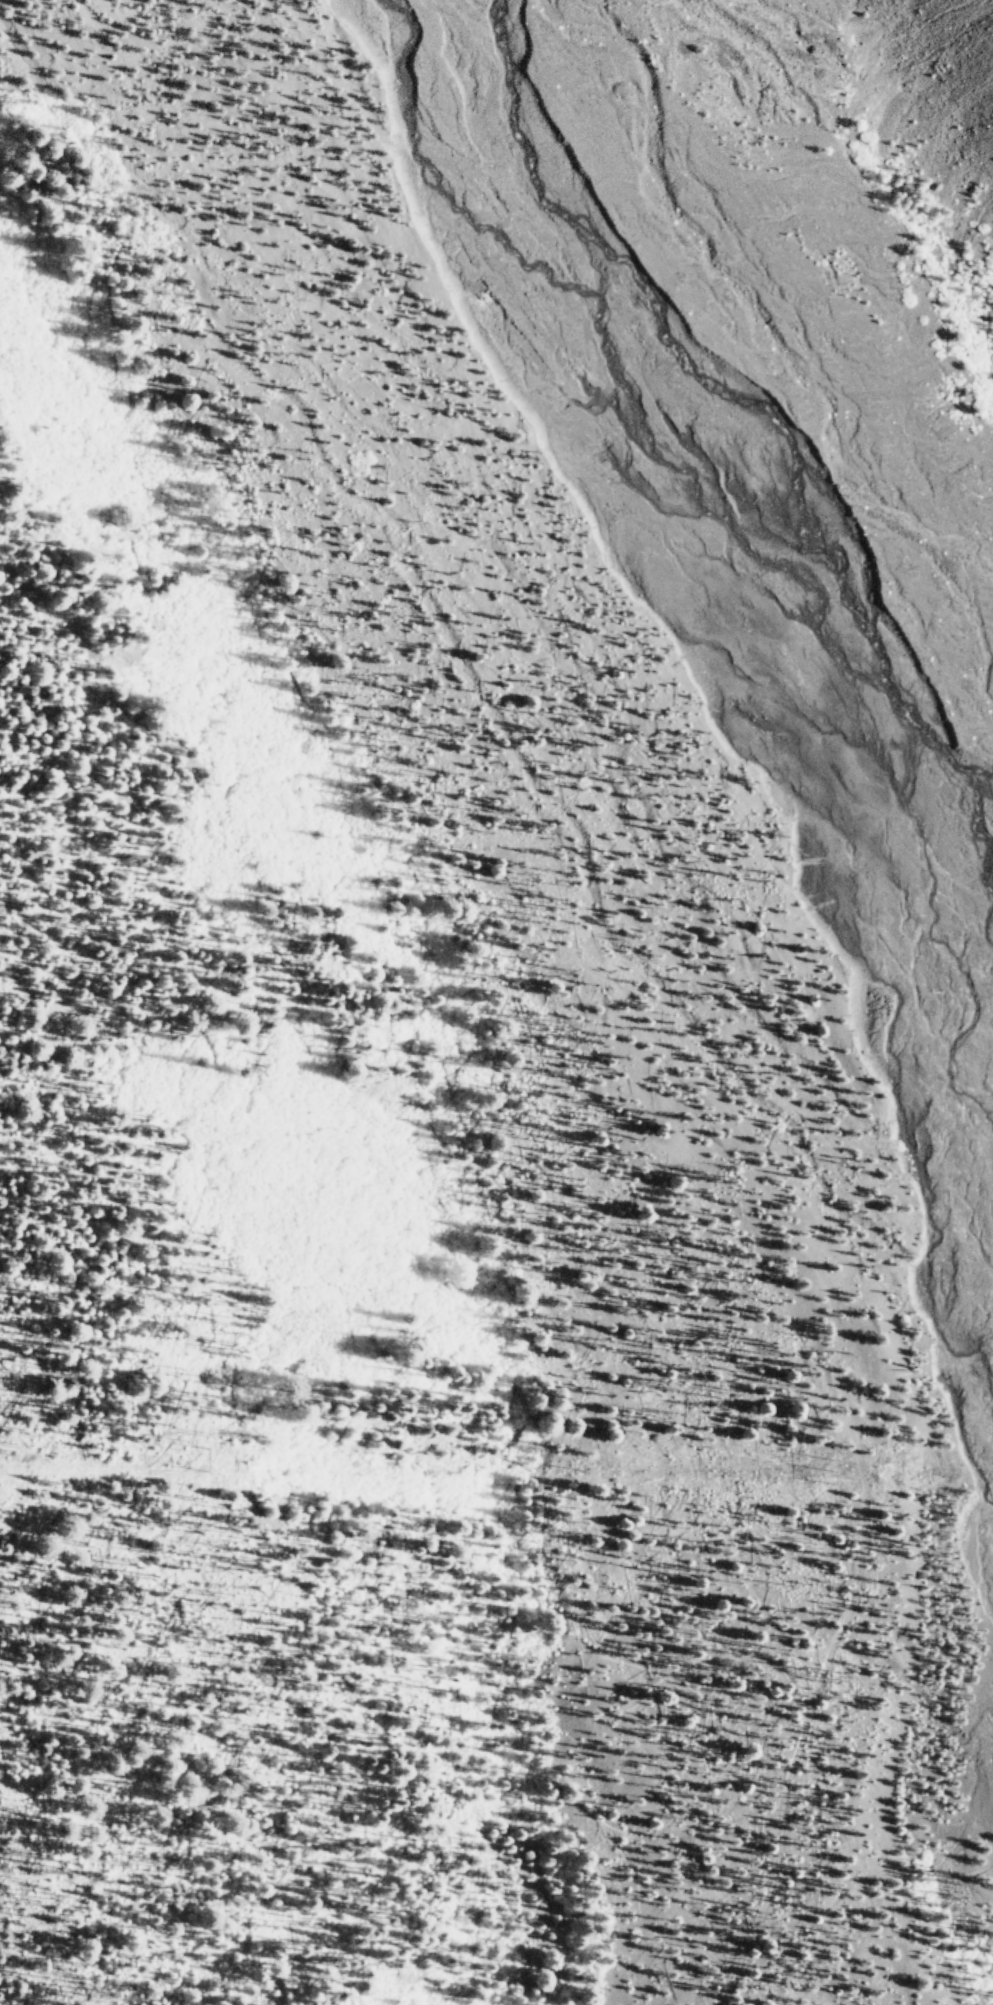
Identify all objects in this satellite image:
road: (277, 415)
road: (462, 461)
river: (779, 695)
road: (765, 1182)
road: (802, 1730)
road: (853, 1857)

